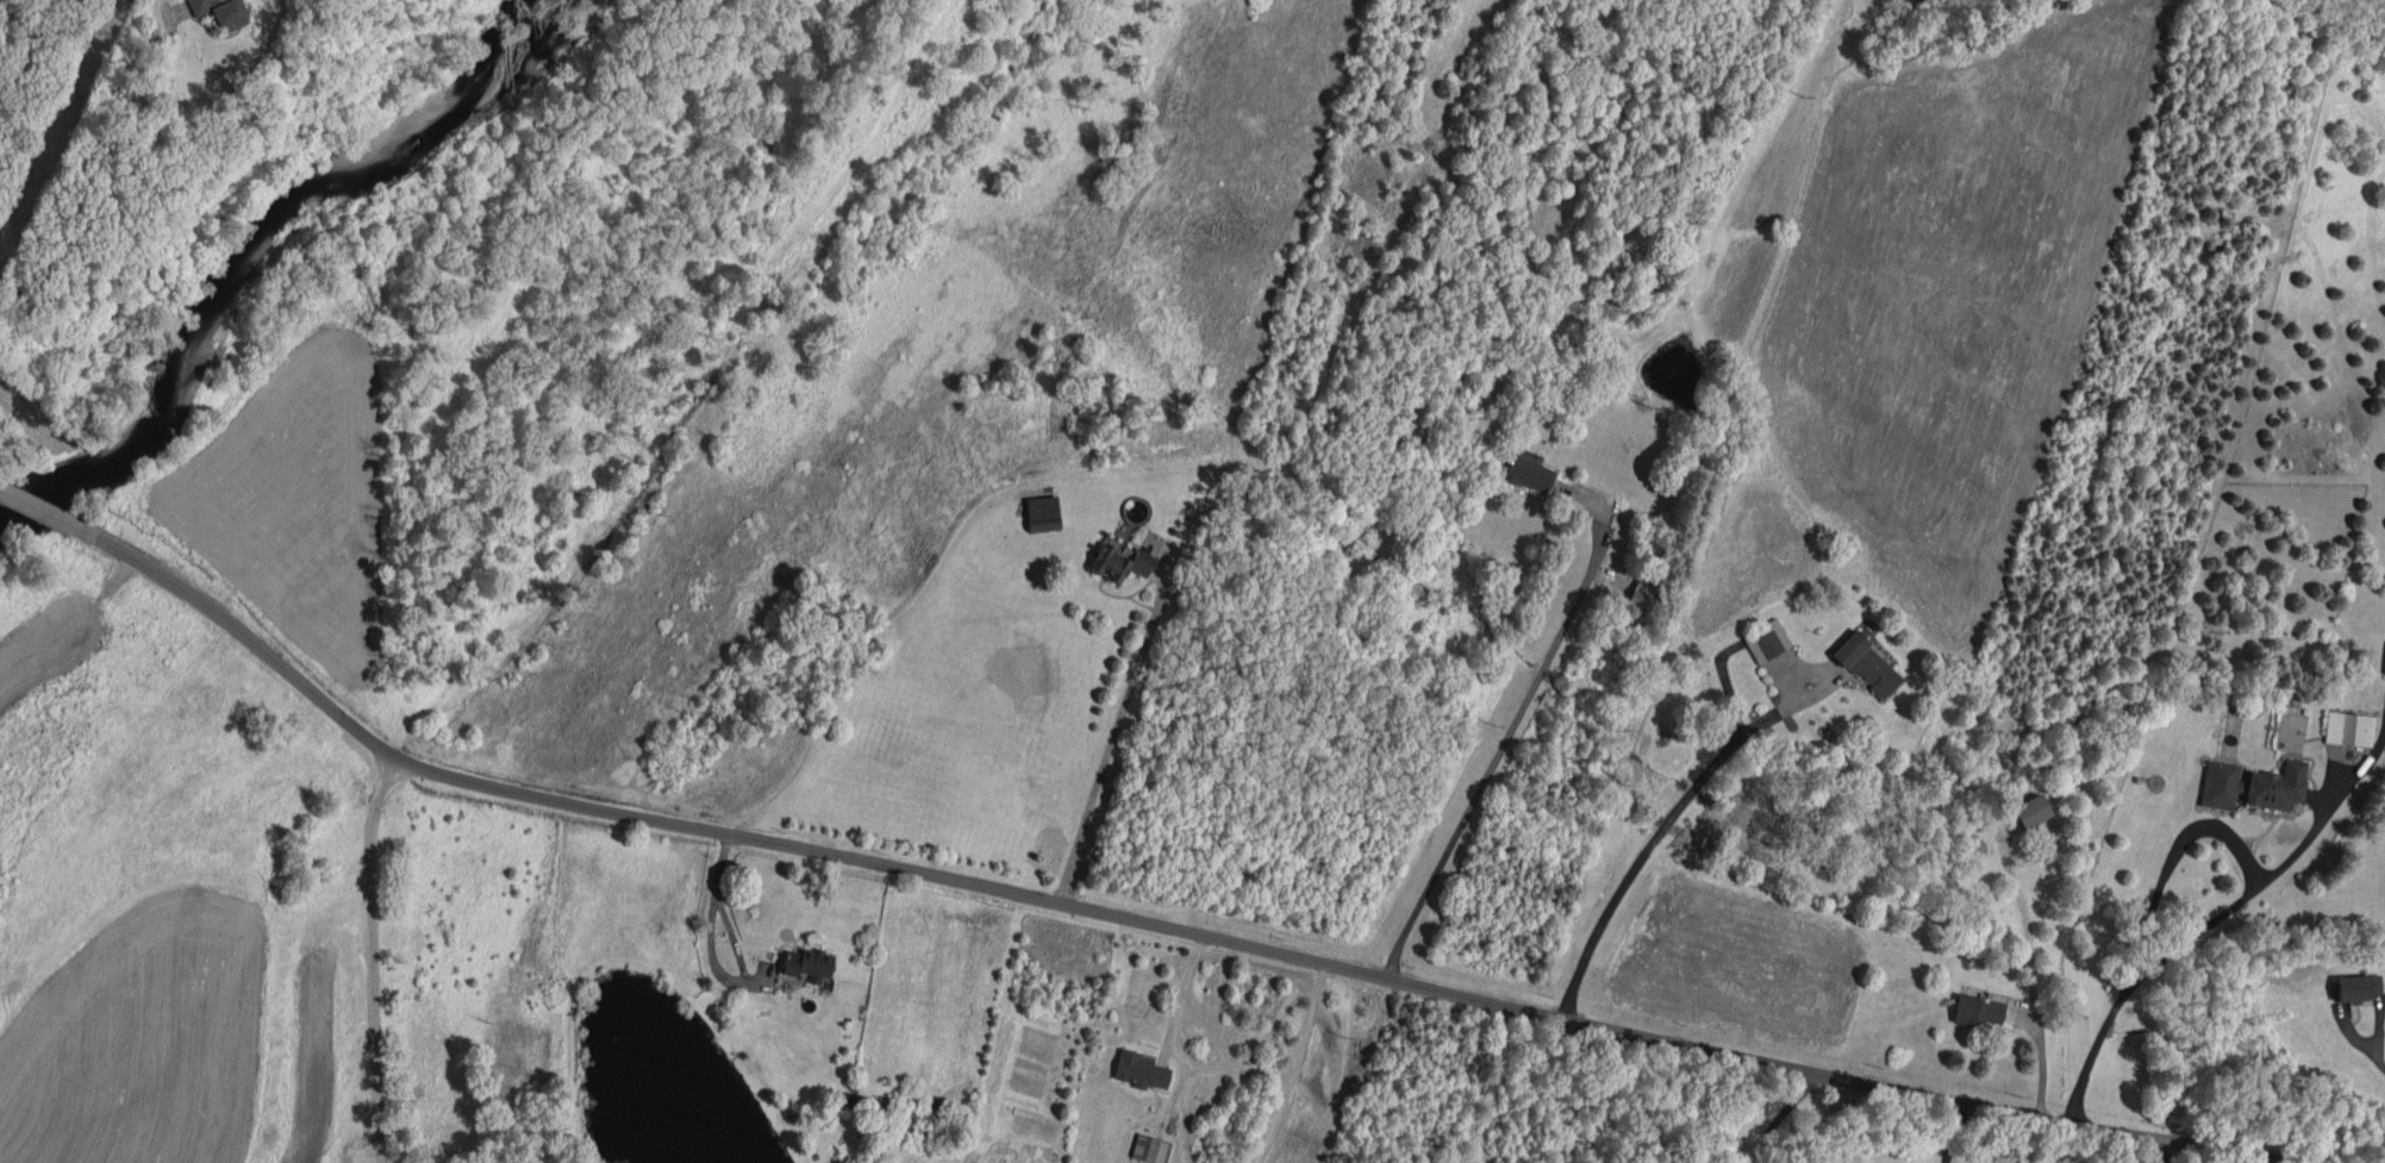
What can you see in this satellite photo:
building: (221, 12)
river: (254, 243)
building: (1526, 470)
road: (46, 512)
building: (1042, 513)
building: (1119, 561)
building: (1642, 594)
building: (1766, 640)
building: (1867, 664)
building: (2384, 671)
building: (2349, 729)
road: (1117, 730)
road: (1510, 732)
building: (2253, 784)
building: (2031, 811)
road: (1668, 823)
road: (2172, 855)
road: (724, 914)
road: (1143, 920)
road: (2211, 923)
road: (361, 953)
building: (807, 963)
building: (2358, 987)
building: (1978, 1011)
road: (2359, 1038)
road: (1170, 1048)
road: (1293, 1064)
building: (1140, 1070)
building: (859, 1102)
road: (1784, 1117)
road: (1946, 1132)
building: (1150, 1149)
road: (2167, 1155)
road: (2173, 1155)

